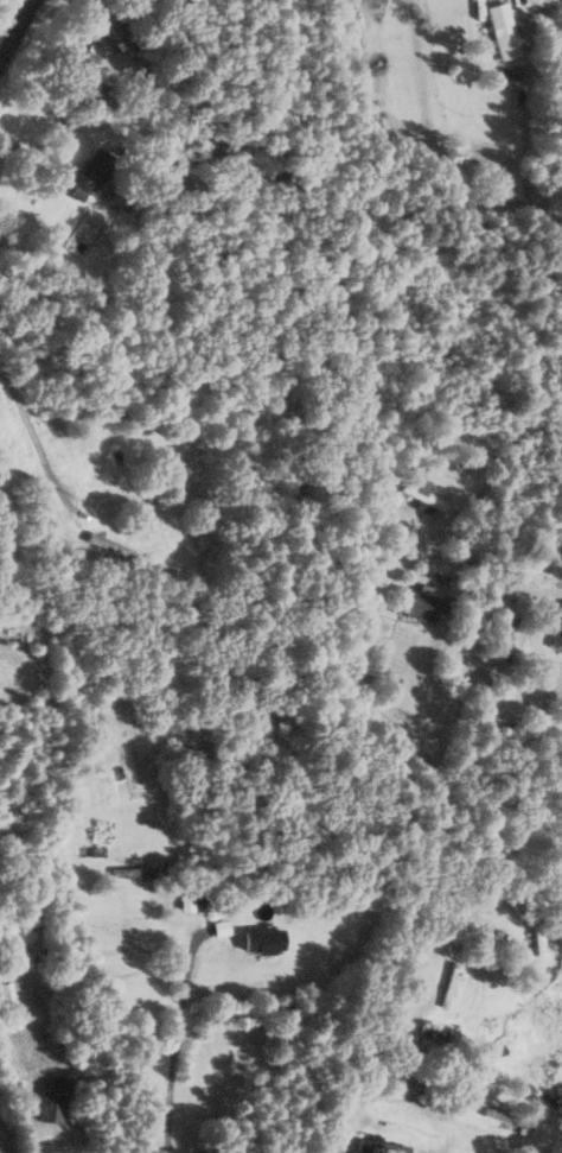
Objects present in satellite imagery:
road: (15, 28)
building: (1, 477)
building: (424, 495)
building: (114, 546)
building: (419, 606)
building: (557, 632)
road: (407, 906)
building: (541, 932)
building: (267, 943)
building: (453, 987)
road: (177, 1043)
building: (56, 1101)
building: (384, 1148)

